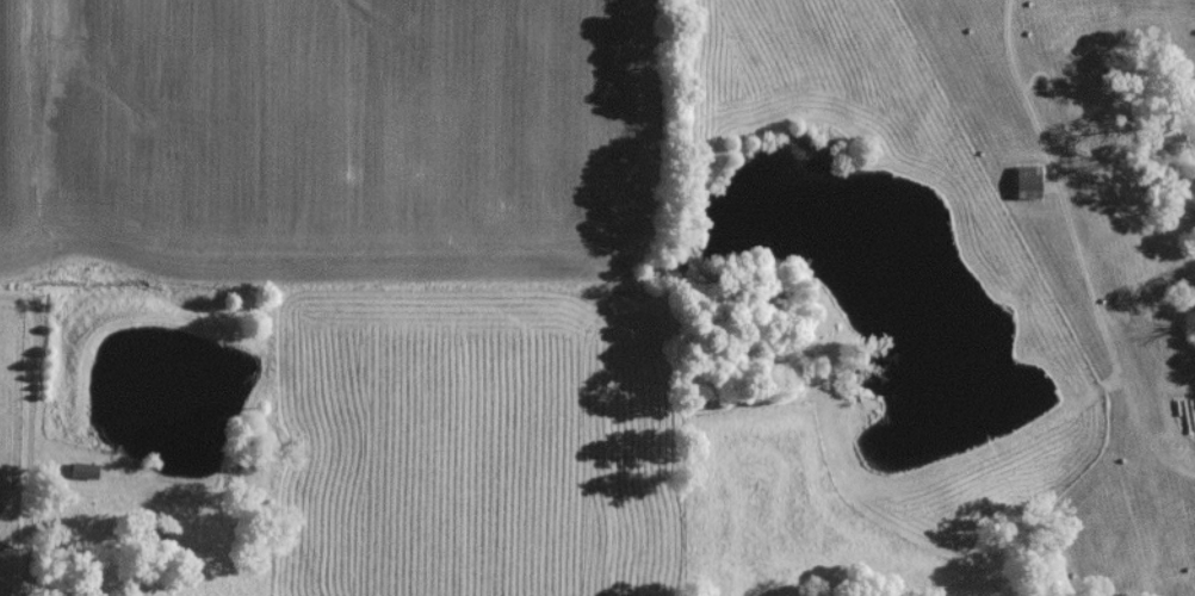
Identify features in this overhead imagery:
building: (1029, 188)
road: (14, 300)
building: (1181, 422)
road: (31, 449)
building: (83, 477)

